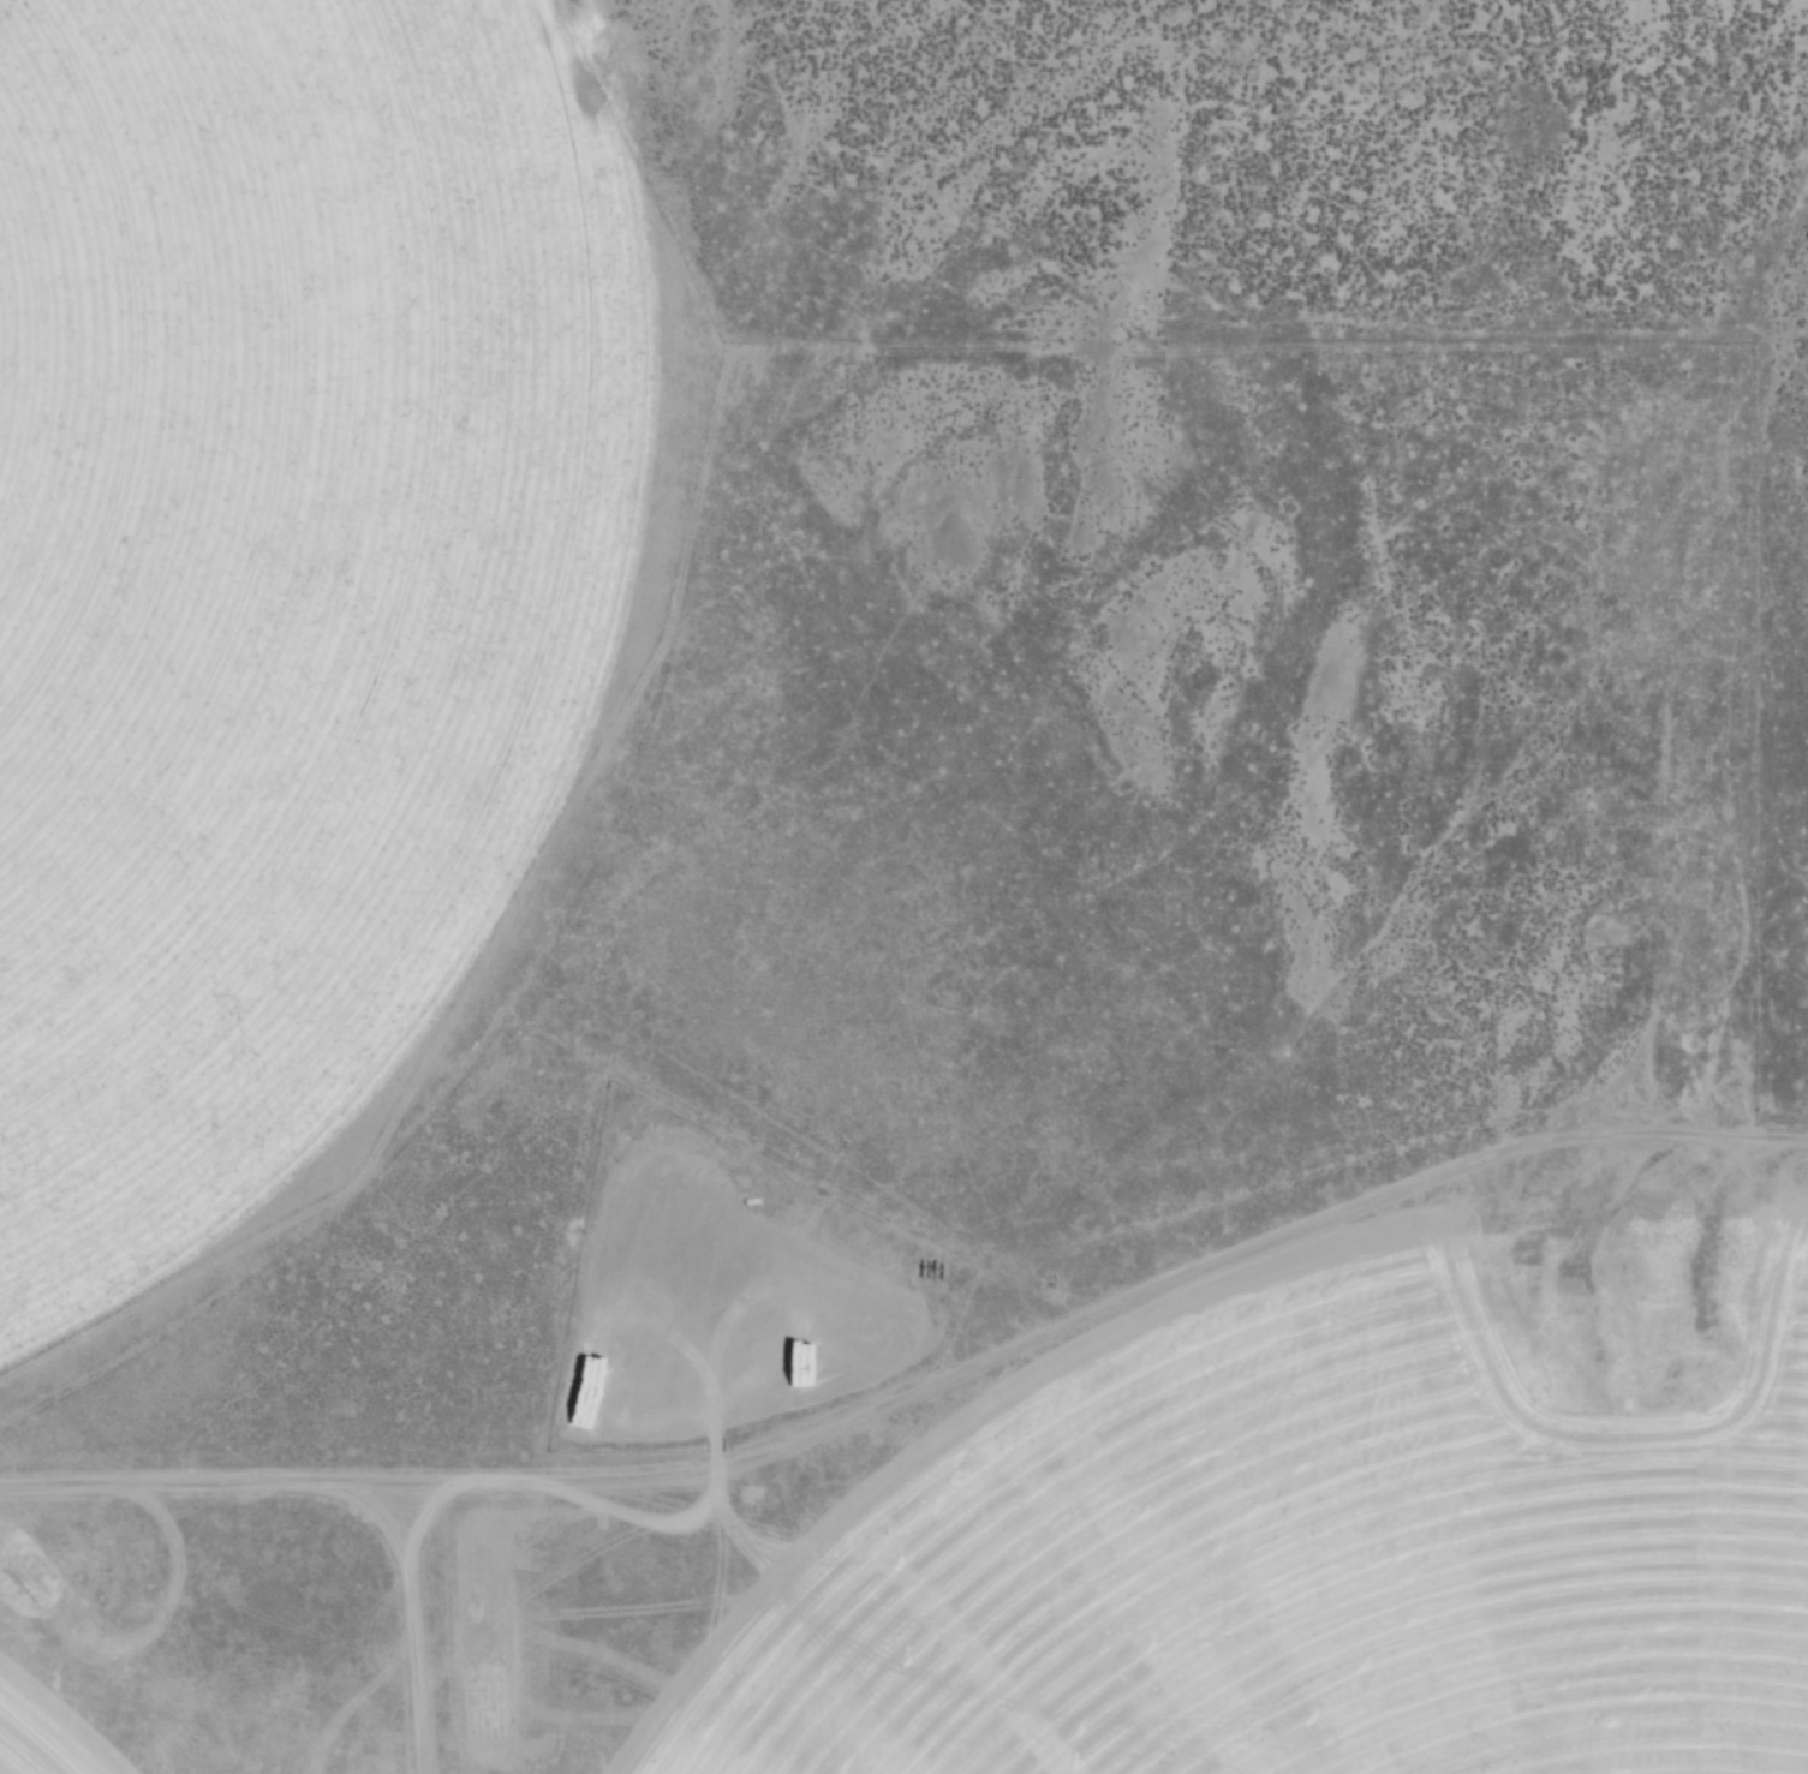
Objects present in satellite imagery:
crop: (49, 1725)

